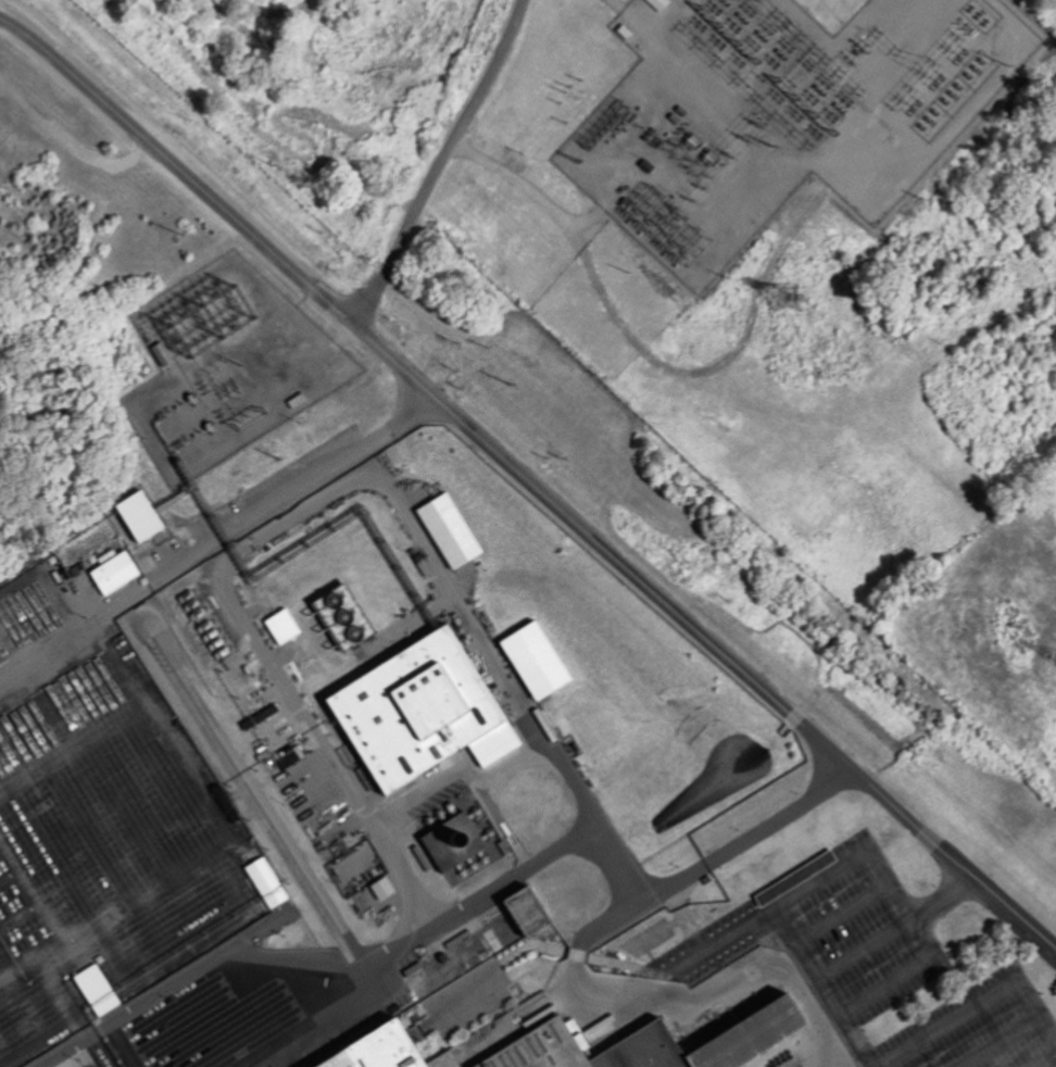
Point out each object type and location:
building: (663, 4)
railway: (36, 90)
power substation: (788, 116)
road: (439, 162)
building: (168, 357)
power substation: (228, 363)
road: (529, 481)
road: (293, 488)
building: (133, 515)
building: (444, 529)
railway: (413, 539)
building: (111, 572)
building: (330, 614)
building: (278, 625)
building: (529, 658)
building: (414, 711)
building: (448, 841)
road: (839, 867)
building: (262, 881)
road: (841, 908)
road: (895, 924)
parking lot: (897, 971)
road: (664, 974)
building: (92, 989)
road: (964, 1015)
road: (1010, 1032)
building: (654, 1043)
building: (388, 1050)
road: (1045, 1059)

